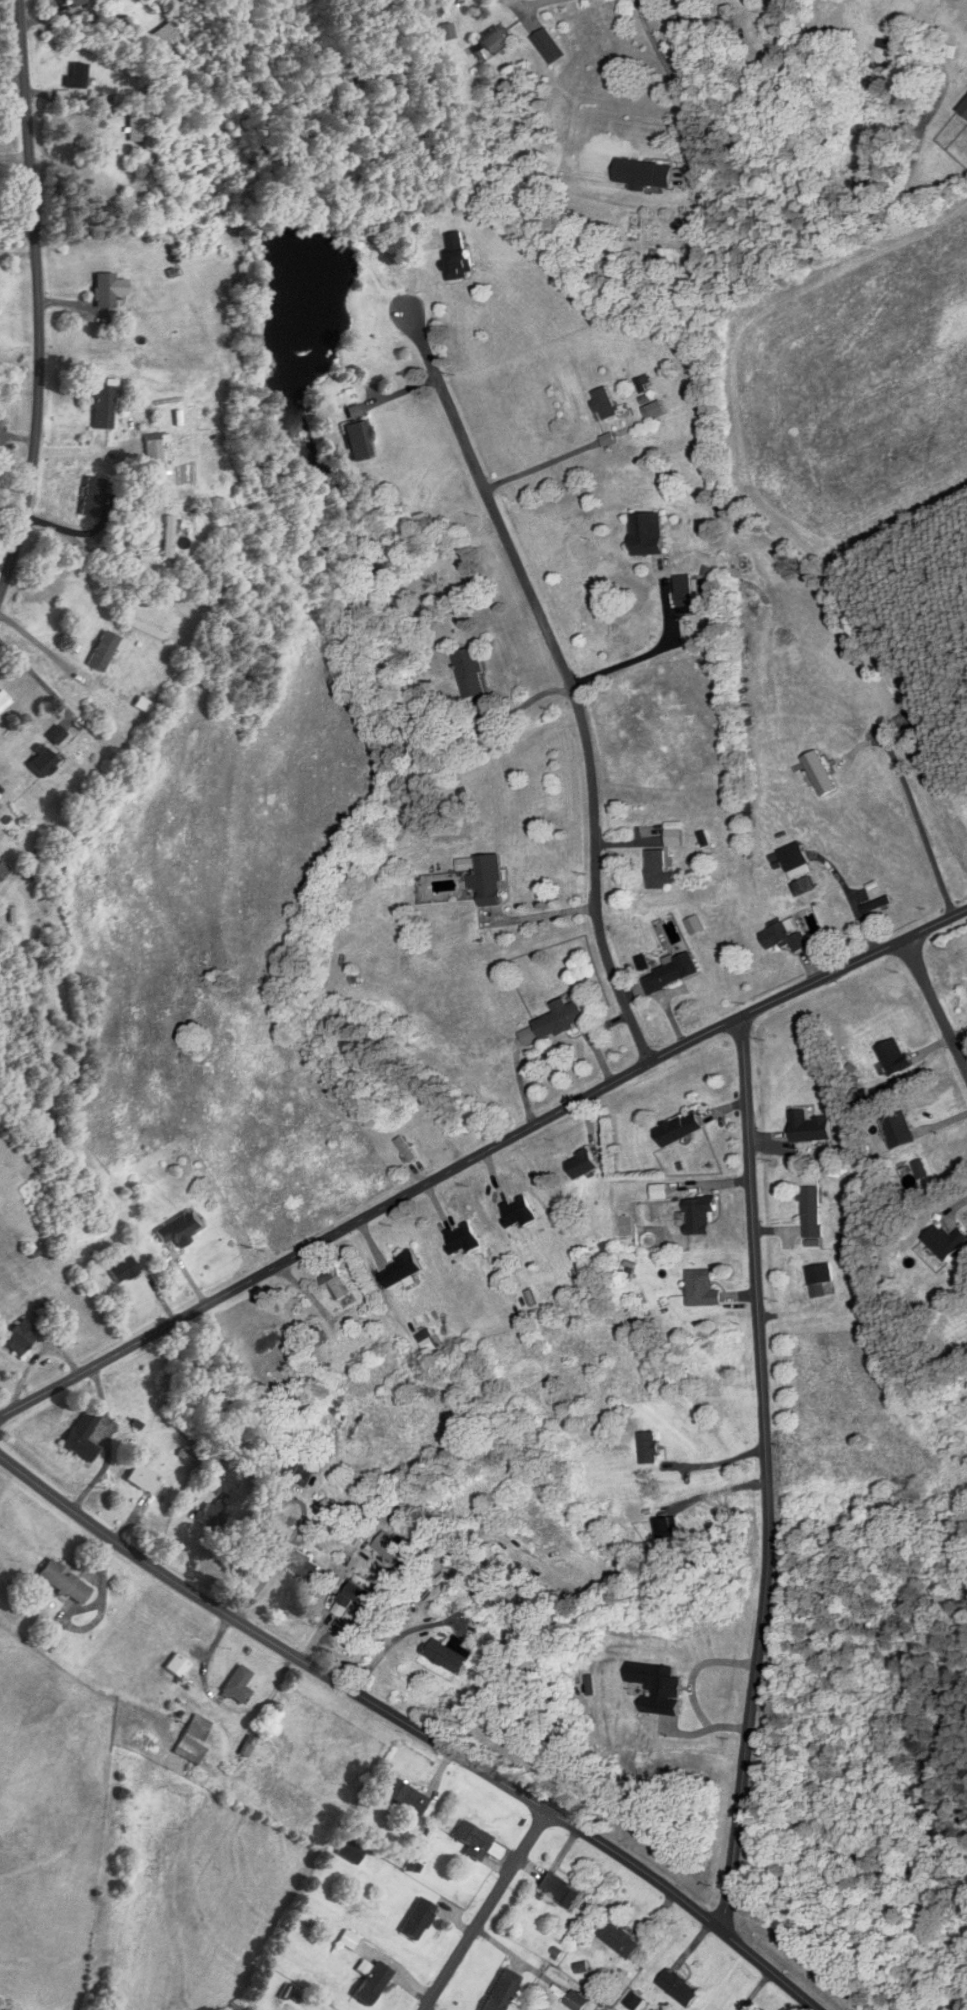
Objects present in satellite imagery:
building: (76, 2)
road: (534, 3)
building: (727, 22)
building: (446, 31)
building: (166, 37)
building: (491, 42)
building: (547, 46)
building: (77, 76)
road: (674, 76)
road: (12, 77)
building: (644, 174)
building: (458, 255)
building: (104, 291)
road: (37, 292)
road: (19, 352)
building: (605, 404)
building: (103, 407)
building: (359, 434)
building: (155, 448)
road: (560, 458)
building: (92, 496)
building: (648, 534)
building: (169, 537)
road: (72, 539)
building: (685, 591)
road: (36, 641)
building: (103, 651)
road: (649, 652)
building: (471, 673)
road: (36, 676)
road: (569, 678)
building: (4, 701)
building: (56, 735)
building: (42, 761)
building: (821, 773)
road: (916, 811)
building: (795, 861)
building: (658, 870)
building: (3, 871)
building: (489, 880)
road: (546, 915)
building: (785, 937)
building: (671, 973)
road: (936, 1007)
building: (555, 1023)
building: (895, 1057)
building: (810, 1128)
building: (680, 1130)
building: (899, 1131)
road: (478, 1155)
building: (582, 1165)
building: (660, 1192)
building: (812, 1213)
building: (700, 1215)
building: (180, 1229)
building: (463, 1239)
building: (947, 1242)
building: (123, 1270)
building: (401, 1271)
building: (820, 1279)
building: (336, 1283)
building: (703, 1290)
building: (317, 1336)
building: (21, 1337)
building: (82, 1437)
building: (650, 1448)
road: (716, 1464)
road: (766, 1478)
building: (143, 1480)
road: (716, 1490)
building: (306, 1568)
building: (65, 1582)
building: (353, 1598)
building: (449, 1654)
building: (178, 1666)
building: (238, 1686)
road: (691, 1688)
road: (221, 1705)
road: (411, 1726)
building: (194, 1740)
building: (406, 1796)
building: (476, 1842)
building: (350, 1852)
building: (560, 1890)
road: (490, 1910)
building: (418, 1919)
building: (619, 1940)
building: (373, 1983)
building: (680, 1988)
building: (502, 1990)
road: (755, 1991)
building: (577, 2001)

